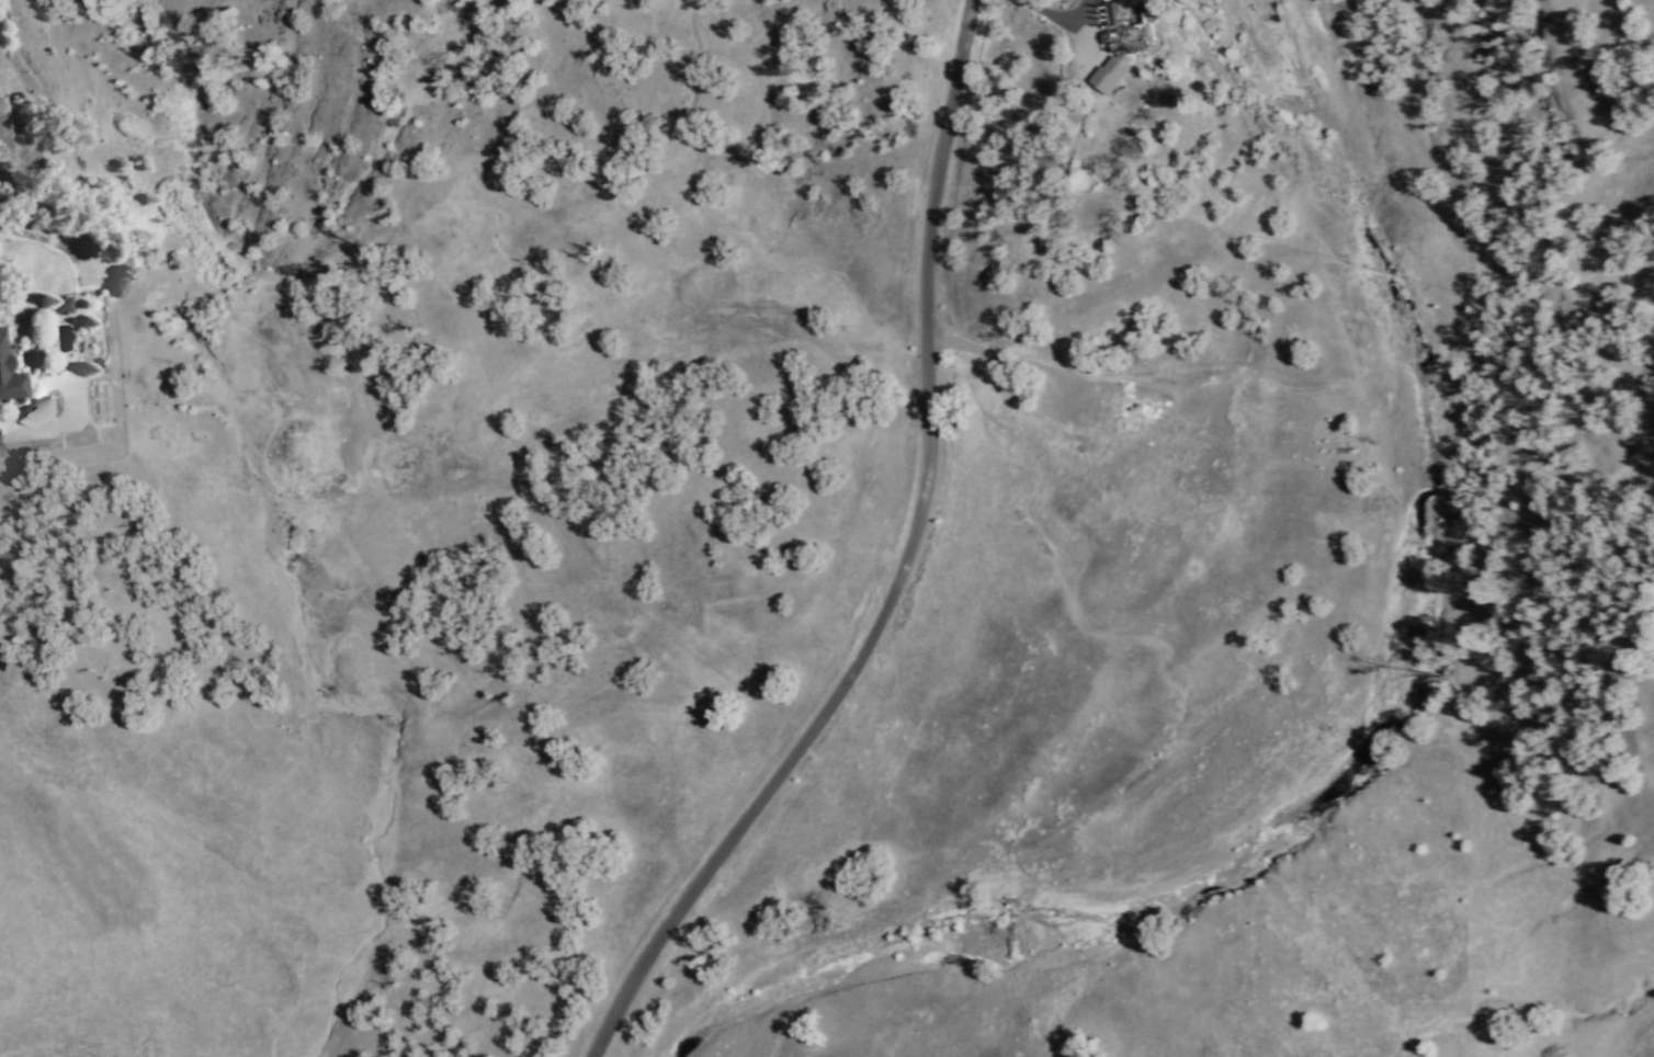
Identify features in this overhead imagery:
road: (1057, 14)
building: (1131, 23)
building: (1110, 72)
building: (59, 304)
building: (9, 373)
road: (1072, 383)
road: (907, 568)

